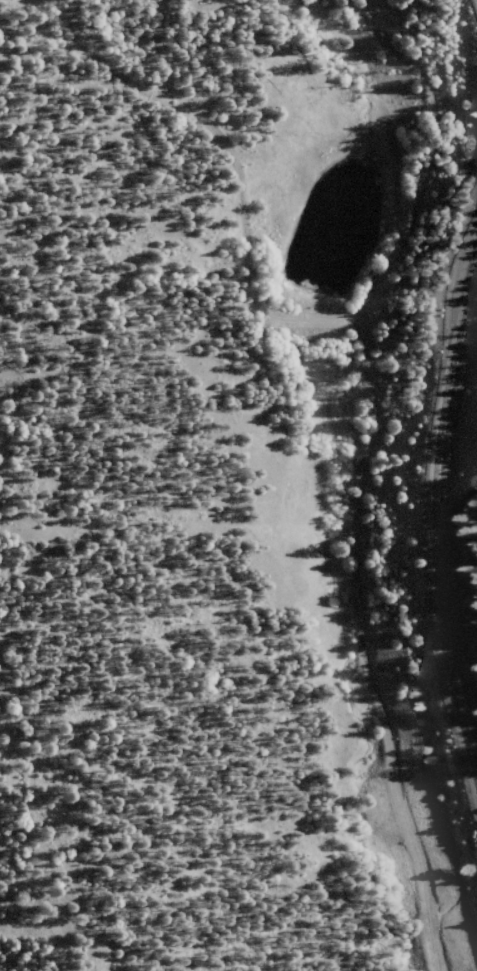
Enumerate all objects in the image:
road: (162, 295)
road: (4, 400)
road: (361, 473)
road: (451, 513)

